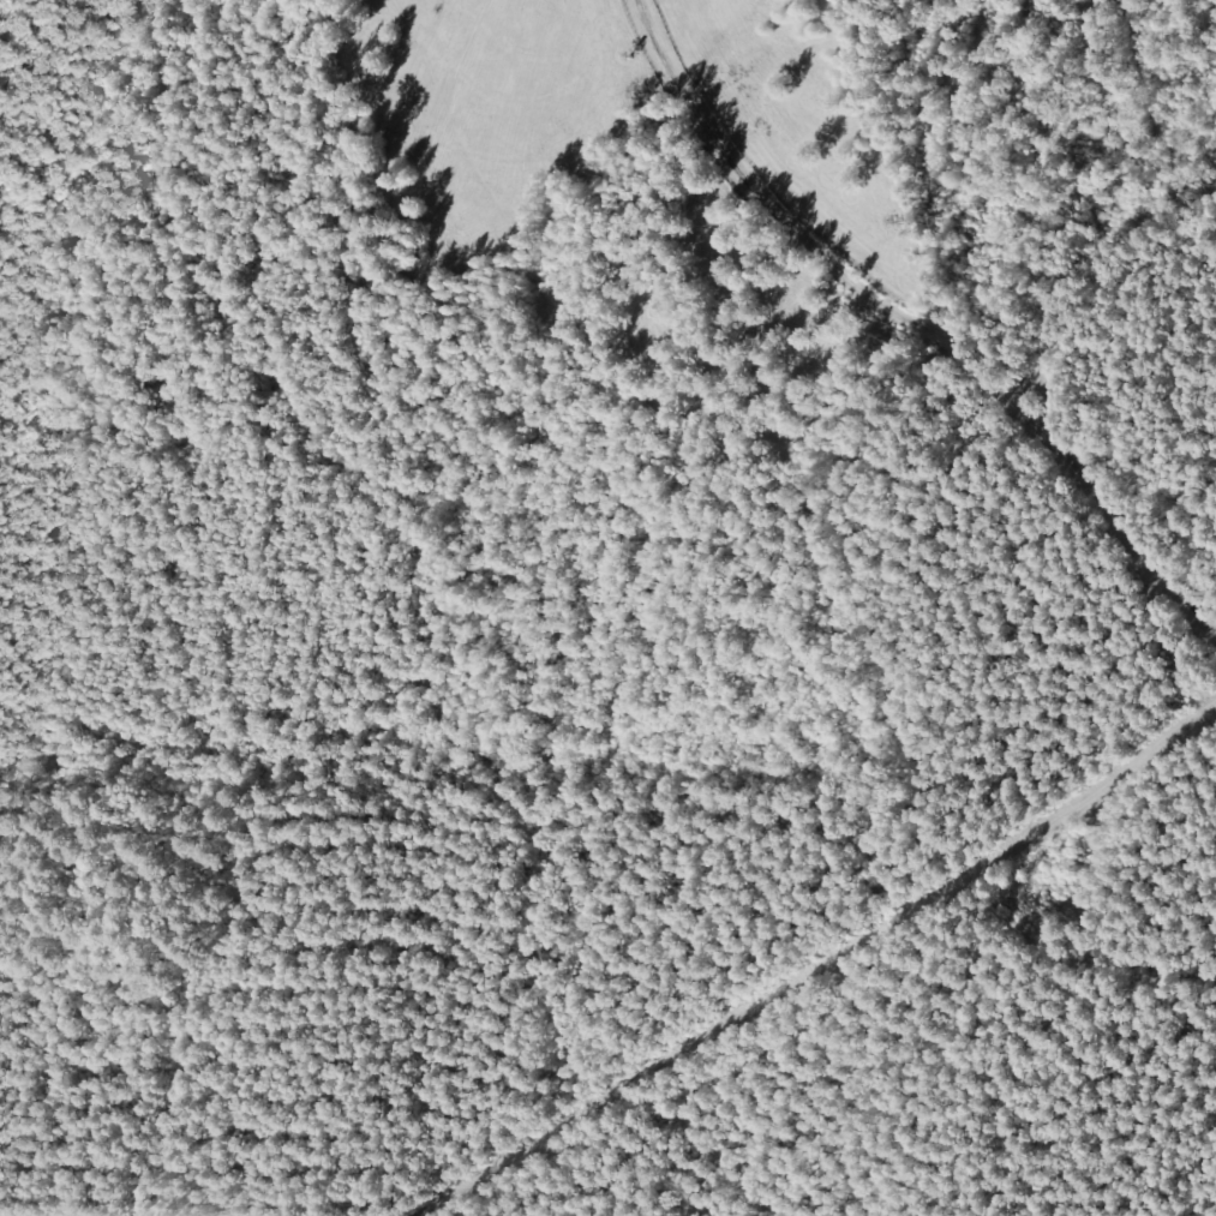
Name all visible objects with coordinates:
road: (1076, 478)

